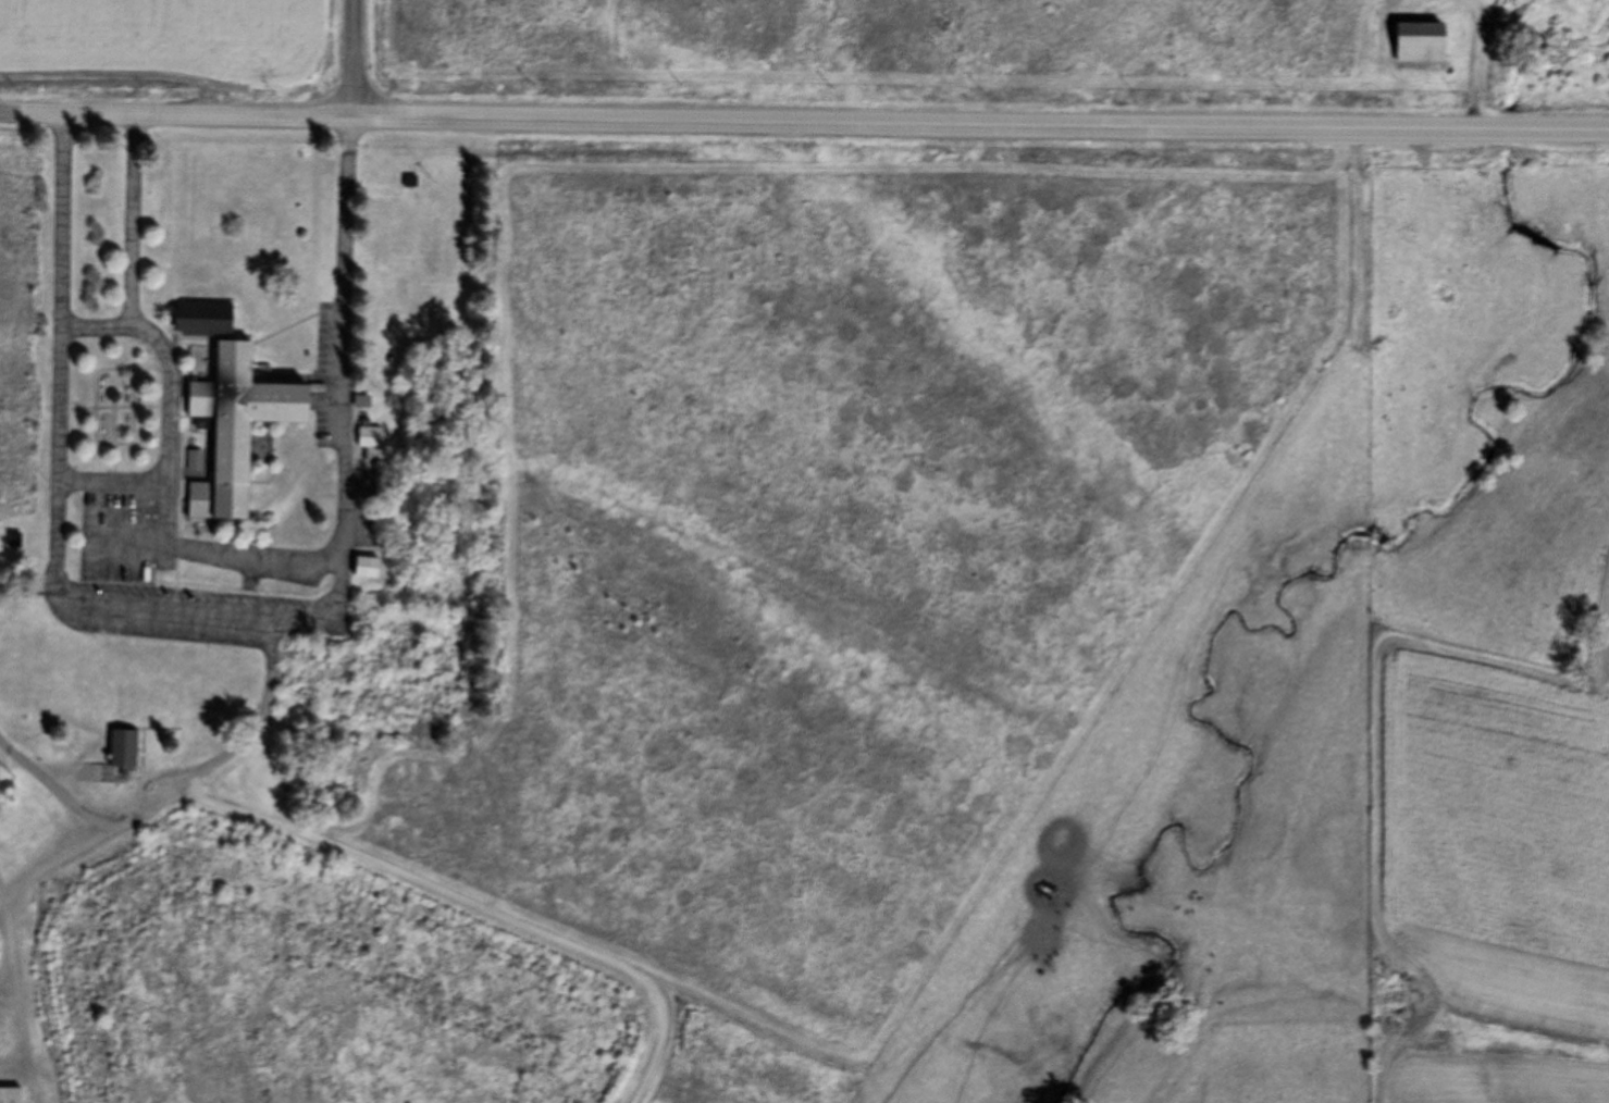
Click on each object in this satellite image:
building: (1415, 30)
road: (1477, 62)
road: (176, 113)
road: (926, 117)
building: (411, 183)
road: (131, 221)
building: (206, 320)
building: (363, 401)
building: (236, 430)
building: (371, 436)
building: (197, 461)
road: (110, 482)
road: (165, 482)
building: (367, 567)
parking lot: (187, 574)
road: (28, 593)
road: (208, 615)
building: (125, 748)
water tower: (3, 786)
road: (174, 792)
road: (49, 862)
road: (472, 907)
road: (8, 915)
road: (7, 964)
road: (24, 1013)
building: (11, 1091)

